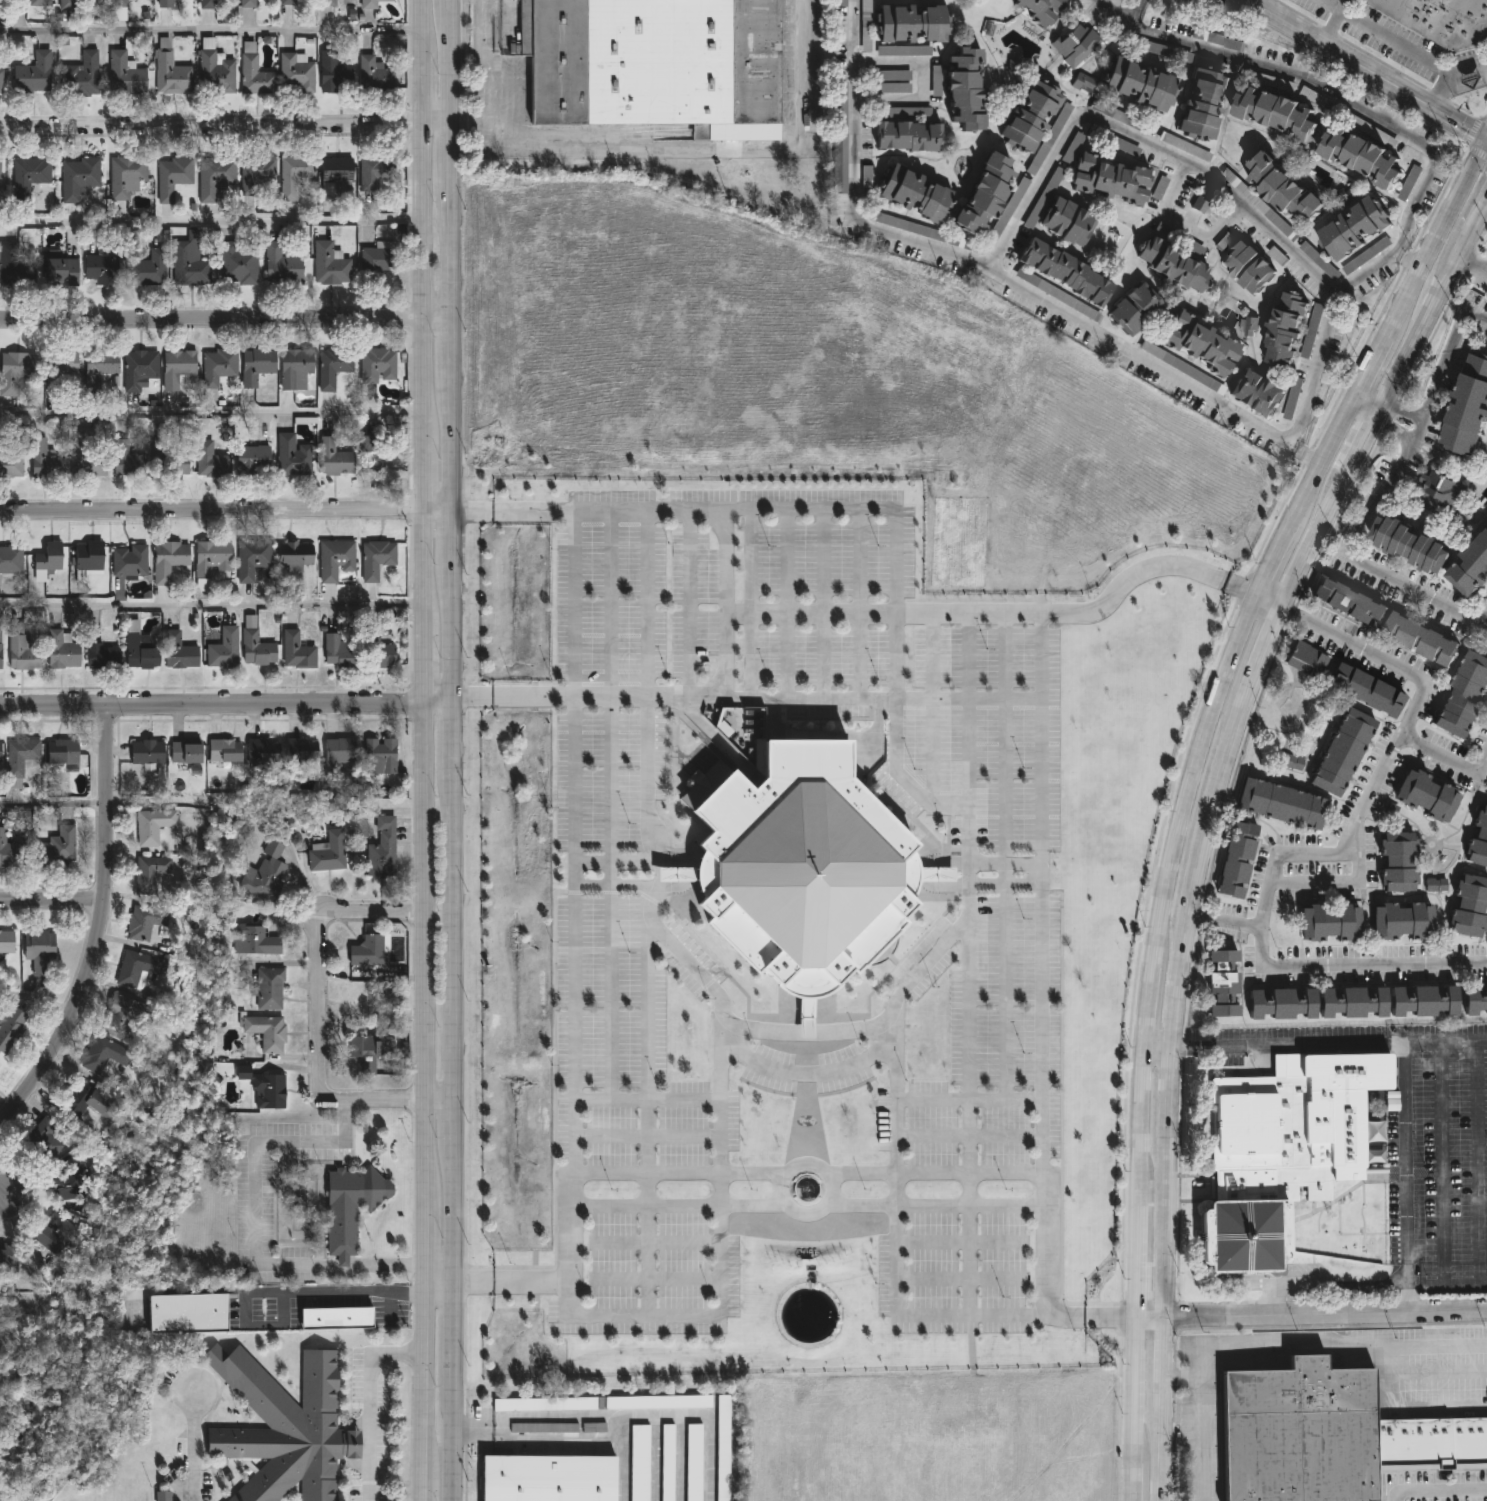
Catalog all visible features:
building: (866, 1)
building: (287, 2)
building: (38, 3)
building: (119, 3)
building: (164, 3)
building: (247, 3)
building: (326, 3)
building: (840, 3)
building: (67, 4)
building: (206, 4)
building: (369, 4)
building: (1041, 10)
road: (1125, 12)
building: (1441, 19)
road: (1330, 21)
building: (912, 22)
road: (425, 23)
road: (212, 30)
building: (1218, 40)
building: (1075, 45)
building: (866, 47)
road: (1405, 48)
building: (904, 51)
building: (1168, 53)
road: (453, 60)
building: (655, 61)
road: (1366, 70)
building: (170, 71)
building: (333, 71)
building: (253, 73)
building: (295, 73)
building: (32, 74)
building: (124, 74)
building: (215, 75)
building: (373, 75)
building: (80, 76)
building: (894, 76)
building: (0, 80)
road: (923, 80)
building: (1084, 83)
road: (425, 84)
building: (1144, 84)
road: (1319, 87)
road: (1469, 87)
building: (894, 88)
building: (964, 88)
building: (1203, 102)
building: (908, 112)
building: (1275, 112)
building: (1030, 114)
building: (1116, 115)
road: (227, 126)
building: (907, 136)
road: (1468, 137)
traffic signals: (1486, 140)
road: (1145, 141)
building: (840, 145)
building: (1125, 147)
road: (651, 148)
building: (1073, 148)
road: (454, 153)
building: (1361, 156)
building: (0, 169)
building: (373, 172)
building: (255, 174)
building: (334, 174)
building: (293, 175)
building: (28, 176)
building: (125, 176)
building: (214, 176)
building: (78, 178)
building: (172, 178)
building: (1109, 179)
building: (1292, 186)
building: (1406, 190)
building: (914, 194)
building: (983, 194)
building: (1044, 198)
building: (1200, 205)
building: (1261, 205)
road: (1480, 220)
road: (212, 221)
building: (1066, 221)
road: (1181, 225)
building: (1355, 228)
building: (935, 235)
road: (1437, 238)
road: (454, 252)
road: (1406, 260)
building: (376, 261)
building: (237, 263)
building: (329, 264)
building: (14, 265)
building: (1173, 265)
building: (188, 266)
building: (281, 266)
building: (144, 267)
building: (1249, 267)
building: (59, 268)
building: (100, 268)
road: (1473, 269)
building: (1065, 272)
road: (425, 280)
building: (1058, 295)
building: (1135, 310)
road: (226, 317)
road: (1427, 322)
road: (1074, 323)
building: (1249, 326)
building: (1286, 329)
building: (1313, 330)
road: (454, 344)
building: (1199, 344)
road: (1445, 356)
building: (1173, 362)
building: (377, 365)
building: (255, 366)
building: (58, 367)
building: (332, 367)
road: (1371, 367)
building: (98, 368)
building: (138, 369)
building: (176, 369)
building: (295, 369)
building: (217, 371)
building: (14, 372)
building: (1296, 387)
building: (1257, 393)
road: (1366, 403)
building: (1468, 408)
road: (1400, 410)
road: (212, 412)
road: (1392, 429)
road: (1365, 437)
road: (454, 442)
building: (371, 445)
building: (166, 454)
building: (84, 456)
building: (291, 456)
building: (333, 458)
building: (126, 460)
building: (210, 460)
building: (250, 460)
road: (1401, 460)
building: (44, 461)
building: (9, 464)
road: (425, 474)
building: (1441, 494)
road: (227, 509)
road: (725, 511)
building: (1236, 524)
road: (1317, 537)
road: (454, 539)
building: (1412, 546)
building: (293, 556)
building: (251, 557)
building: (334, 559)
building: (376, 559)
building: (10, 560)
building: (87, 560)
building: (45, 561)
building: (169, 561)
building: (209, 561)
building: (128, 562)
road: (425, 570)
building: (1472, 570)
road: (1386, 577)
road: (1244, 590)
building: (1351, 602)
road: (1271, 603)
road: (212, 604)
road: (572, 605)
road: (989, 615)
road: (454, 631)
building: (1422, 640)
building: (136, 646)
building: (255, 646)
road: (1266, 647)
building: (223, 649)
building: (0, 651)
building: (60, 651)
building: (178, 652)
building: (296, 652)
building: (374, 652)
building: (338, 653)
building: (21, 654)
building: (101, 656)
road: (1382, 657)
building: (1309, 661)
road: (426, 666)
building: (1366, 688)
building: (1464, 695)
road: (675, 698)
road: (879, 698)
road: (227, 706)
road: (454, 732)
building: (261, 749)
building: (340, 749)
building: (227, 750)
building: (1342, 750)
building: (0, 751)
building: (62, 752)
building: (184, 752)
building: (299, 752)
building: (146, 753)
building: (380, 755)
building: (21, 758)
building: (1292, 762)
road: (1442, 763)
road: (1004, 789)
road: (609, 792)
building: (1431, 795)
road: (54, 801)
building: (1286, 804)
road: (425, 809)
building: (153, 825)
building: (1481, 844)
building: (57, 847)
building: (10, 849)
building: (381, 849)
building: (328, 852)
building: (1241, 861)
road: (1007, 863)
building: (1403, 863)
building: (803, 867)
building: (264, 871)
building: (146, 873)
road: (1007, 881)
road: (1340, 881)
building: (1435, 885)
road: (53, 904)
parking lot: (610, 906)
building: (1473, 909)
road: (1046, 912)
building: (143, 920)
building: (1408, 922)
road: (1225, 923)
building: (1334, 923)
road: (102, 926)
road: (1260, 928)
road: (1156, 930)
road: (454, 935)
building: (252, 939)
building: (6, 941)
building: (37, 950)
road: (571, 954)
building: (369, 955)
building: (132, 969)
building: (1227, 982)
building: (268, 988)
road: (1002, 991)
road: (609, 993)
road: (1175, 996)
road: (37, 999)
building: (1431, 999)
building: (1478, 999)
building: (1361, 1001)
building: (1288, 1002)
building: (362, 1005)
building: (125, 1012)
road: (318, 1022)
building: (10, 1028)
building: (266, 1032)
road: (896, 1032)
road: (1329, 1044)
road: (1157, 1048)
building: (367, 1051)
building: (103, 1053)
road: (425, 1060)
building: (0, 1065)
road: (808, 1073)
building: (264, 1087)
road: (609, 1100)
road: (647, 1101)
road: (972, 1101)
building: (86, 1102)
road: (967, 1116)
road: (453, 1125)
road: (645, 1137)
road: (720, 1137)
building: (42, 1139)
building: (1288, 1148)
road: (1480, 1161)
road: (1442, 1162)
building: (66, 1182)
road: (3, 1191)
road: (1408, 1201)
building: (350, 1207)
road: (769, 1209)
road: (452, 1214)
road: (254, 1226)
building: (53, 1232)
road: (423, 1238)
building: (8, 1260)
road: (437, 1276)
road: (1326, 1283)
road: (352, 1291)
road: (1409, 1296)
road: (392, 1306)
building: (187, 1313)
road: (1325, 1313)
road: (1093, 1317)
building: (334, 1318)
road: (1148, 1318)
road: (450, 1320)
road: (243, 1324)
road: (1329, 1345)
road: (1160, 1355)
road: (422, 1369)
building: (658, 1402)
building: (545, 1404)
road: (373, 1408)
road: (1202, 1416)
road: (697, 1418)
building: (286, 1428)
road: (448, 1431)
building: (1300, 1432)
road: (534, 1438)
building: (1431, 1438)
road: (194, 1445)
road: (1159, 1447)
building: (723, 1448)
building: (668, 1462)
building: (694, 1462)
building: (640, 1463)
road: (1144, 1465)
road: (622, 1469)
building: (549, 1478)
road: (422, 1484)
road: (1439, 1490)
building: (163, 1496)

